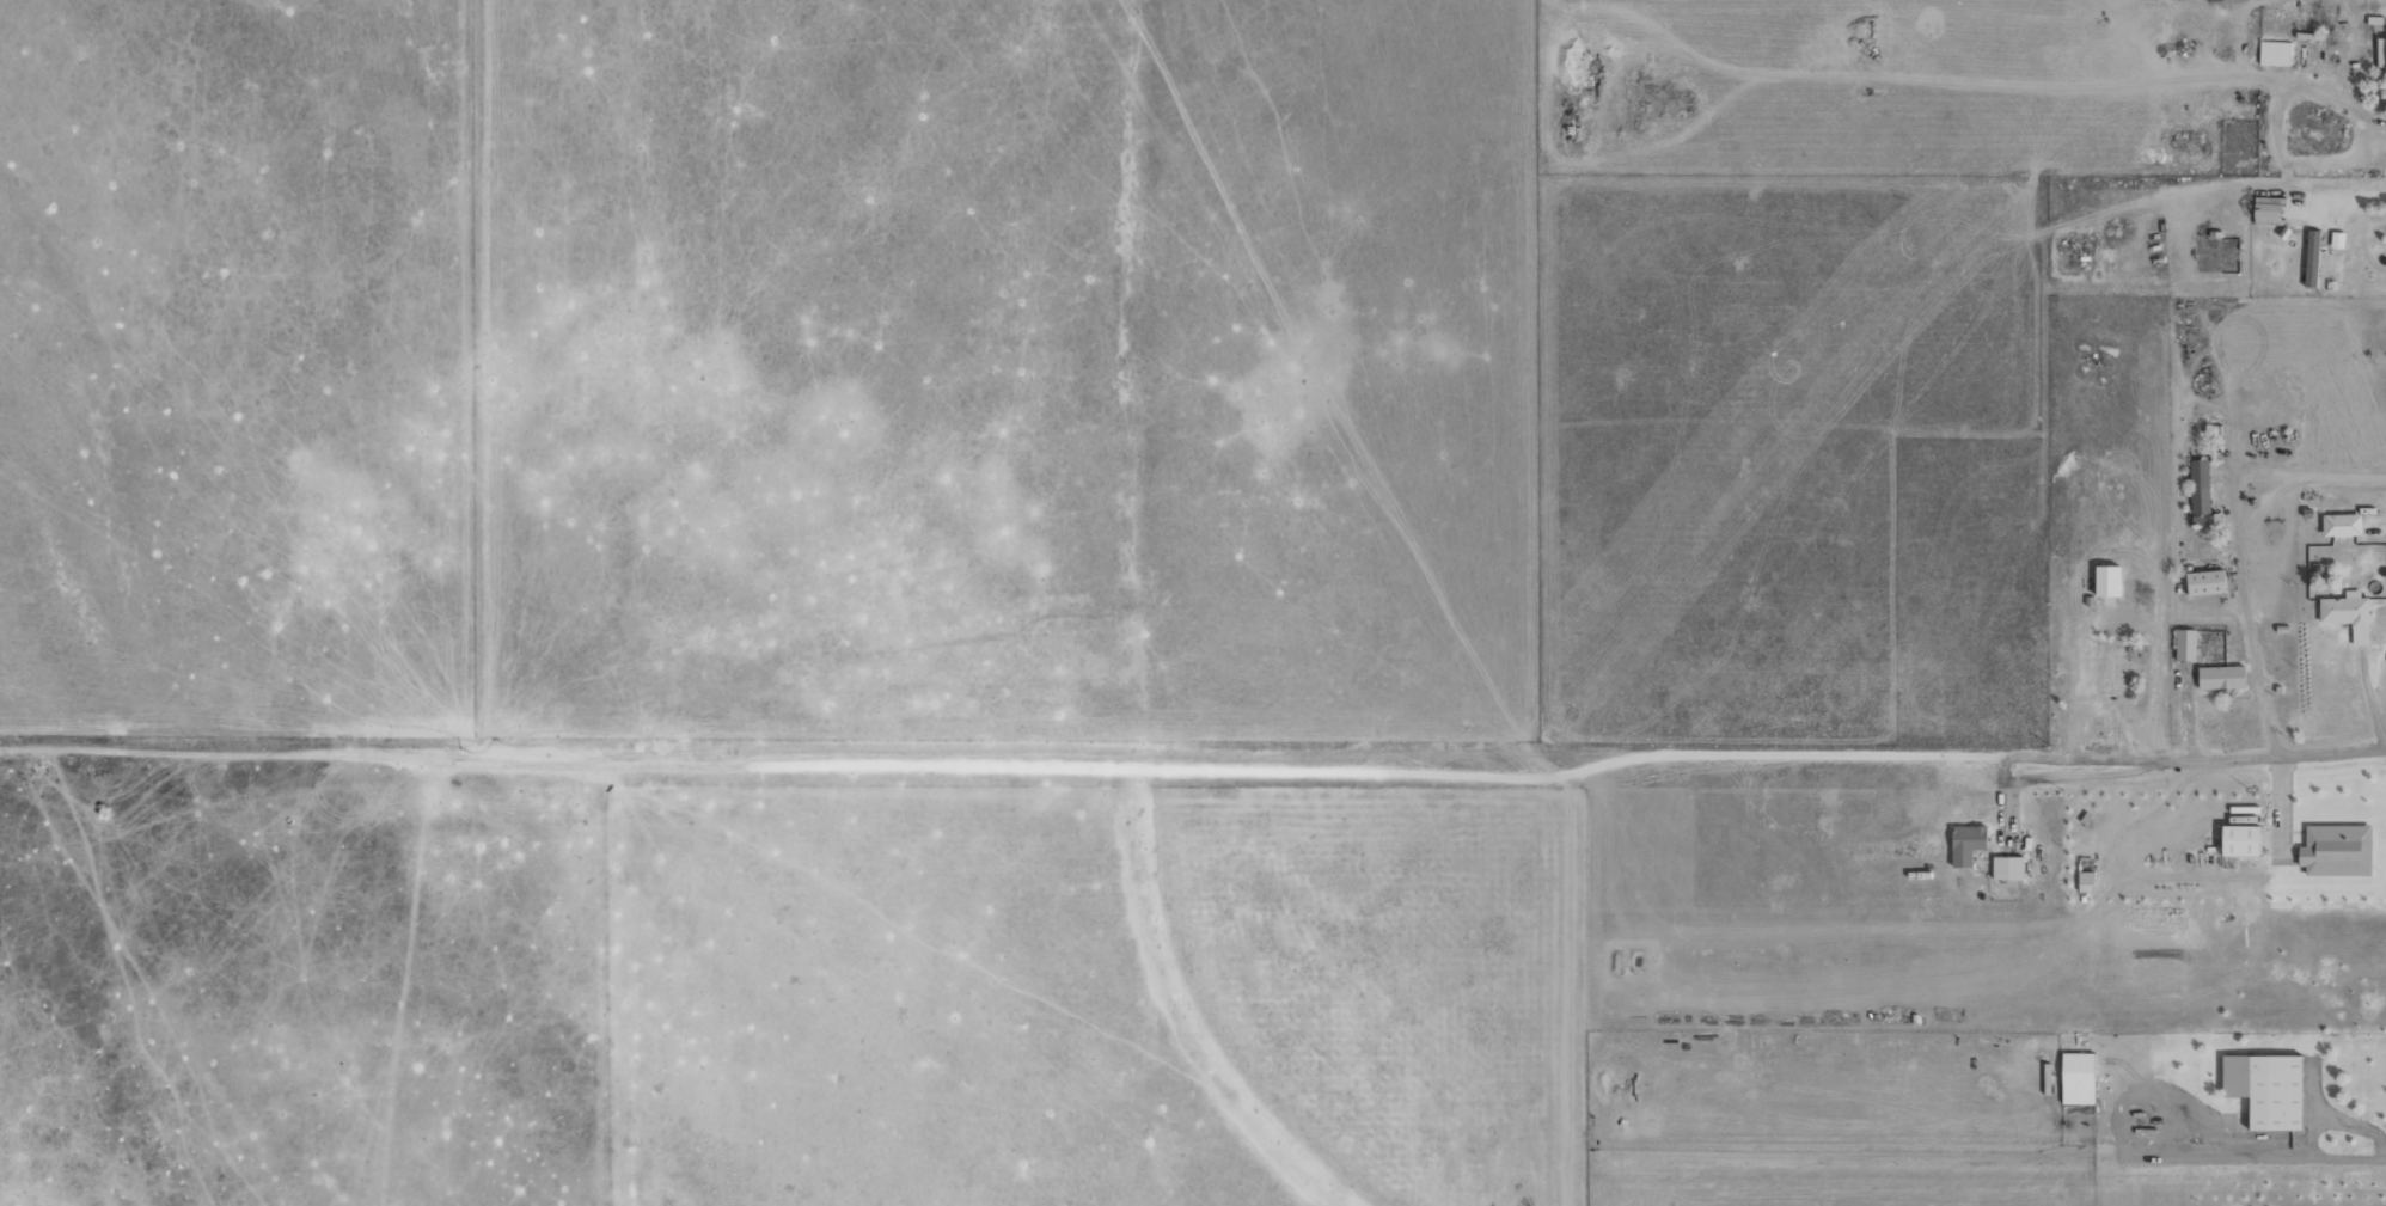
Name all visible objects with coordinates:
building: (2275, 53)
building: (2381, 53)
building: (2268, 210)
building: (2312, 258)
building: (2201, 494)
building: (2342, 525)
building: (2107, 581)
building: (2205, 582)
road: (1193, 606)
building: (2348, 616)
building: (2185, 645)
building: (2105, 669)
building: (2221, 677)
road: (1193, 800)
building: (2241, 840)
building: (1968, 844)
building: (2337, 851)
building: (2008, 868)
building: (2086, 881)
building: (2079, 1078)
building: (2266, 1089)

